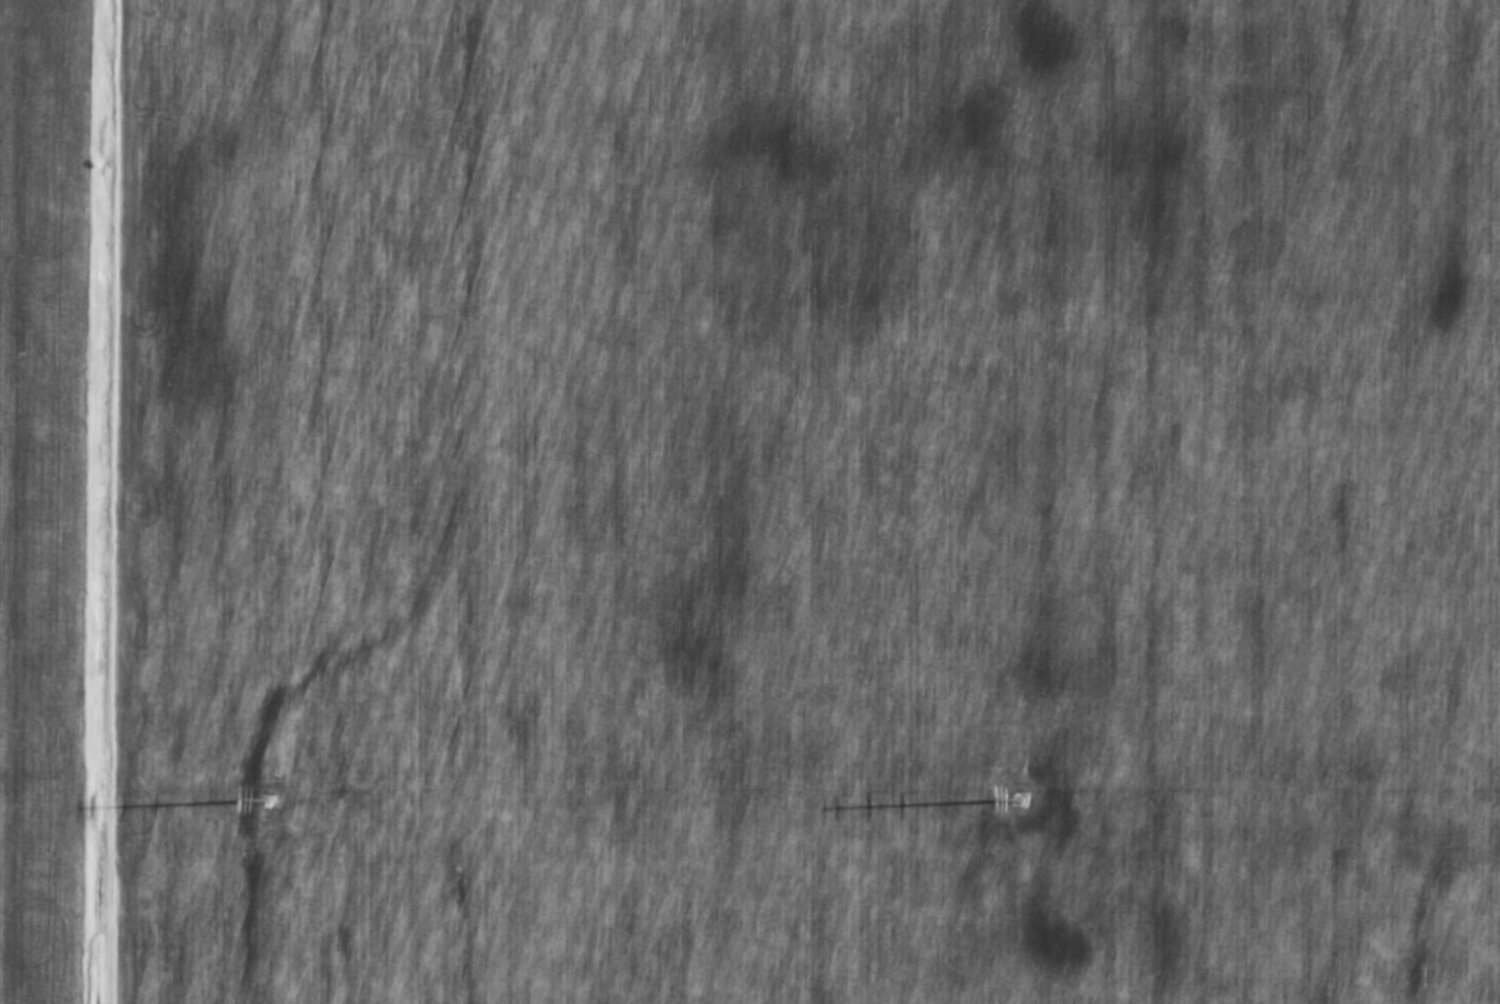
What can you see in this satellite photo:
power tower: (267, 800)
power tower: (1020, 800)

